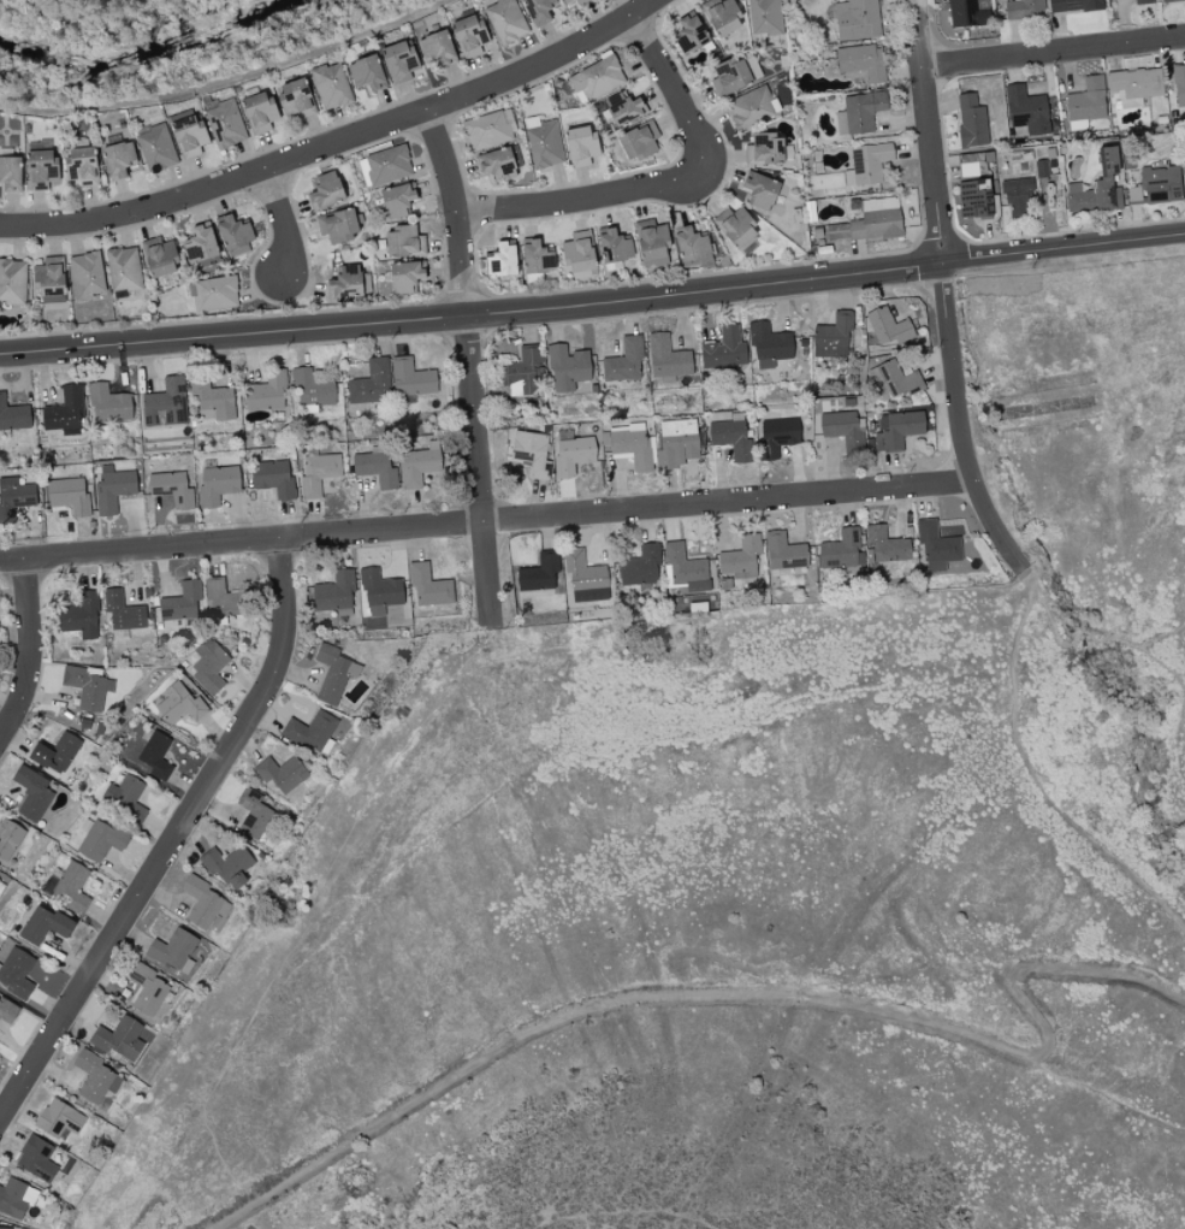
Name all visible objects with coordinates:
building: (1167, 0)
building: (567, 1)
building: (581, 1)
building: (1143, 1)
building: (1074, 5)
building: (1025, 8)
building: (539, 10)
building: (967, 13)
building: (721, 16)
building: (765, 17)
building: (857, 19)
building: (506, 20)
building: (691, 35)
building: (469, 36)
building: (438, 48)
road: (1053, 52)
building: (399, 63)
building: (863, 63)
building: (367, 73)
building: (730, 77)
road: (226, 78)
building: (598, 78)
building: (1179, 84)
building: (1134, 85)
building: (331, 87)
road: (669, 88)
building: (297, 100)
building: (1086, 102)
building: (751, 107)
building: (624, 110)
building: (1027, 111)
building: (259, 113)
building: (859, 113)
building: (972, 122)
building: (226, 125)
building: (487, 131)
building: (190, 137)
building: (640, 141)
road: (336, 143)
building: (545, 146)
building: (158, 147)
building: (581, 147)
building: (765, 150)
building: (119, 160)
building: (498, 164)
building: (389, 165)
building: (83, 167)
building: (42, 170)
building: (11, 175)
building: (1109, 181)
building: (1157, 185)
building: (326, 191)
building: (760, 191)
building: (1018, 196)
building: (1079, 199)
road: (574, 200)
building: (976, 200)
building: (397, 201)
road: (452, 212)
building: (871, 221)
road: (280, 223)
building: (337, 226)
building: (735, 226)
building: (233, 232)
building: (652, 241)
building: (404, 243)
building: (201, 244)
building: (614, 246)
building: (692, 247)
road: (1062, 248)
building: (579, 253)
building: (535, 256)
building: (160, 258)
building: (502, 261)
building: (124, 270)
building: (88, 276)
building: (51, 277)
building: (405, 277)
building: (13, 283)
building: (345, 283)
road: (701, 291)
road: (942, 291)
building: (215, 294)
building: (887, 326)
road: (232, 336)
building: (834, 336)
building: (769, 344)
building: (724, 350)
building: (666, 359)
building: (626, 362)
building: (567, 367)
building: (526, 371)
building: (411, 378)
building: (895, 380)
building: (372, 383)
building: (313, 388)
building: (268, 392)
building: (213, 401)
building: (166, 403)
building: (109, 404)
building: (65, 412)
building: (13, 415)
building: (843, 429)
building: (897, 430)
building: (730, 432)
building: (778, 436)
building: (679, 443)
building: (632, 447)
building: (532, 454)
building: (574, 455)
building: (421, 465)
road: (478, 466)
building: (377, 467)
building: (319, 473)
building: (274, 478)
building: (218, 485)
building: (113, 489)
building: (173, 489)
building: (69, 495)
building: (14, 498)
road: (487, 520)
building: (937, 544)
building: (884, 546)
building: (842, 551)
building: (784, 553)
building: (741, 556)
building: (683, 565)
building: (641, 567)
building: (539, 573)
building: (583, 573)
building: (429, 585)
building: (380, 591)
building: (224, 598)
building: (182, 601)
building: (123, 610)
building: (81, 615)
road: (31, 652)
building: (209, 664)
building: (332, 673)
building: (88, 685)
building: (180, 703)
building: (310, 729)
building: (58, 751)
building: (156, 755)
building: (284, 773)
road: (1036, 778)
building: (32, 793)
building: (126, 796)
building: (254, 813)
building: (8, 838)
road: (174, 838)
building: (102, 840)
building: (229, 865)
building: (2, 882)
building: (73, 886)
building: (206, 905)
building: (47, 923)
building: (173, 947)
building: (17, 973)
building: (148, 988)
road: (734, 993)
building: (7, 1010)
building: (120, 1039)
building: (96, 1077)
road: (1108, 1097)
building: (60, 1118)
building: (36, 1157)
building: (16, 1198)
building: (5, 1228)

